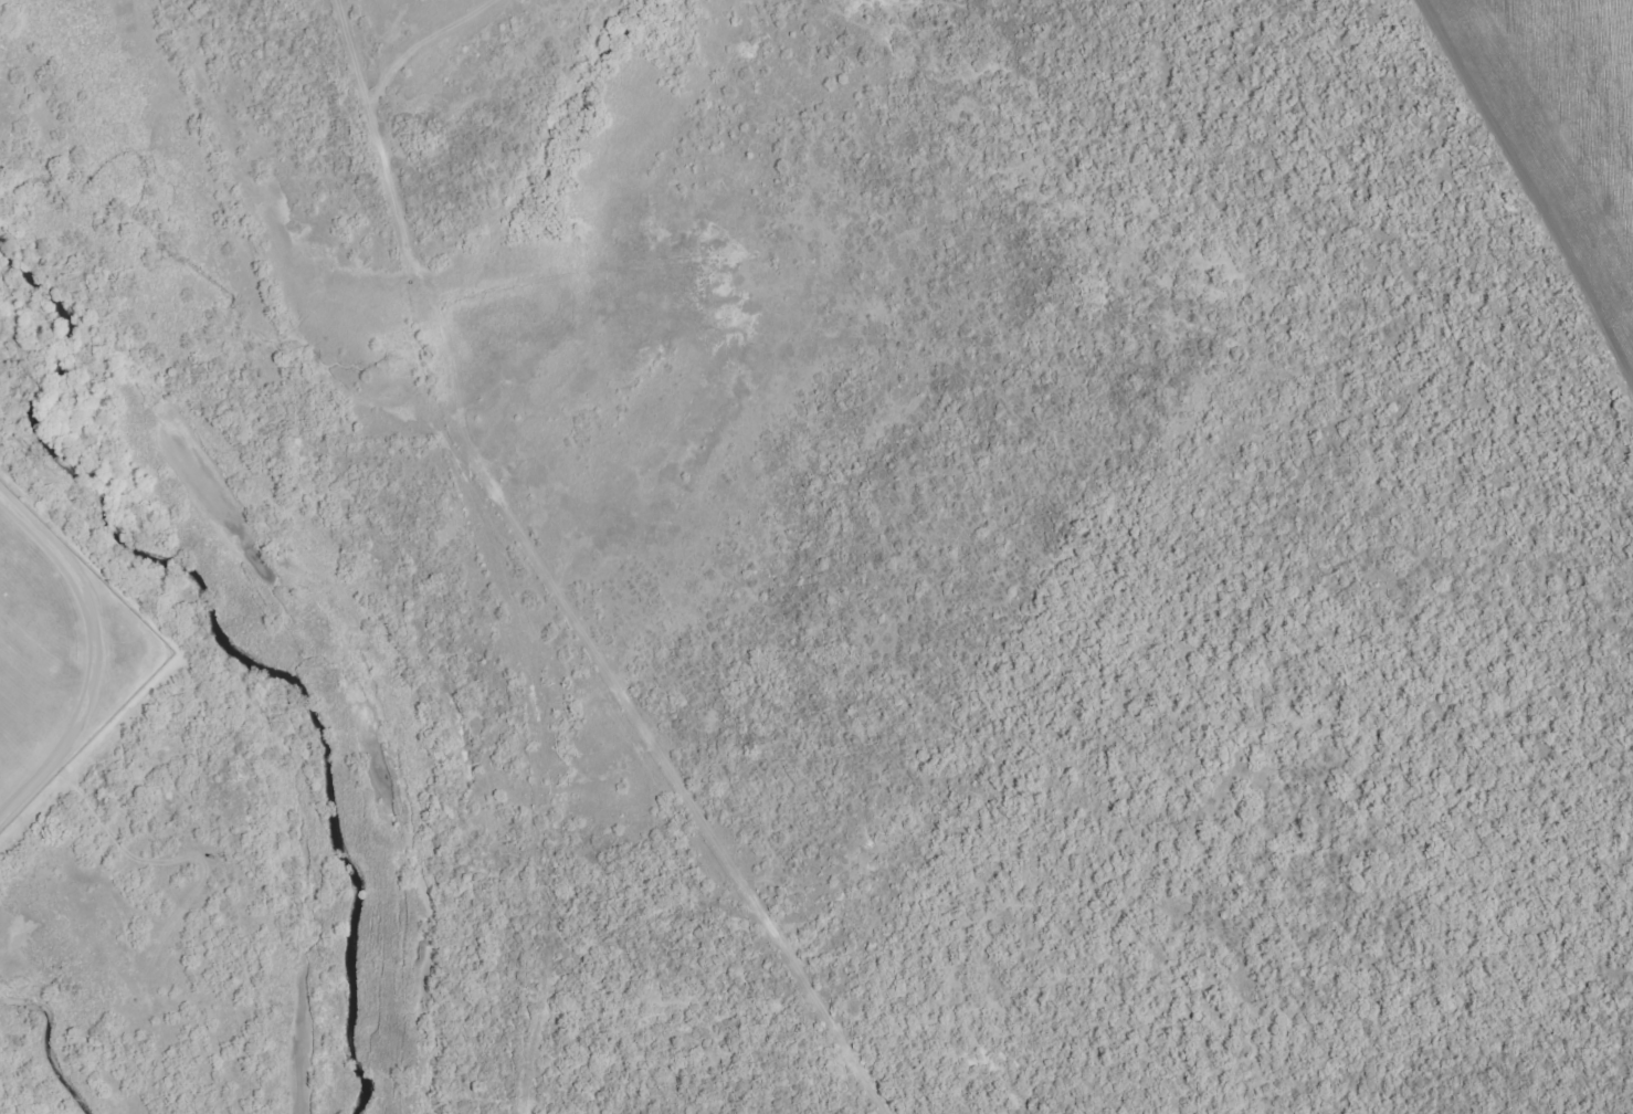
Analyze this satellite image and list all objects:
road: (94, 656)

